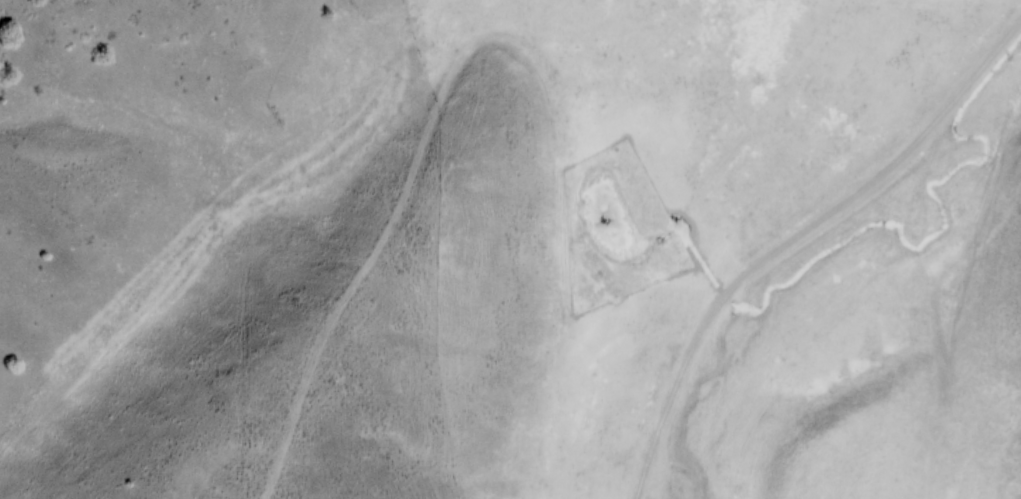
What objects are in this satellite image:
road: (797, 238)

